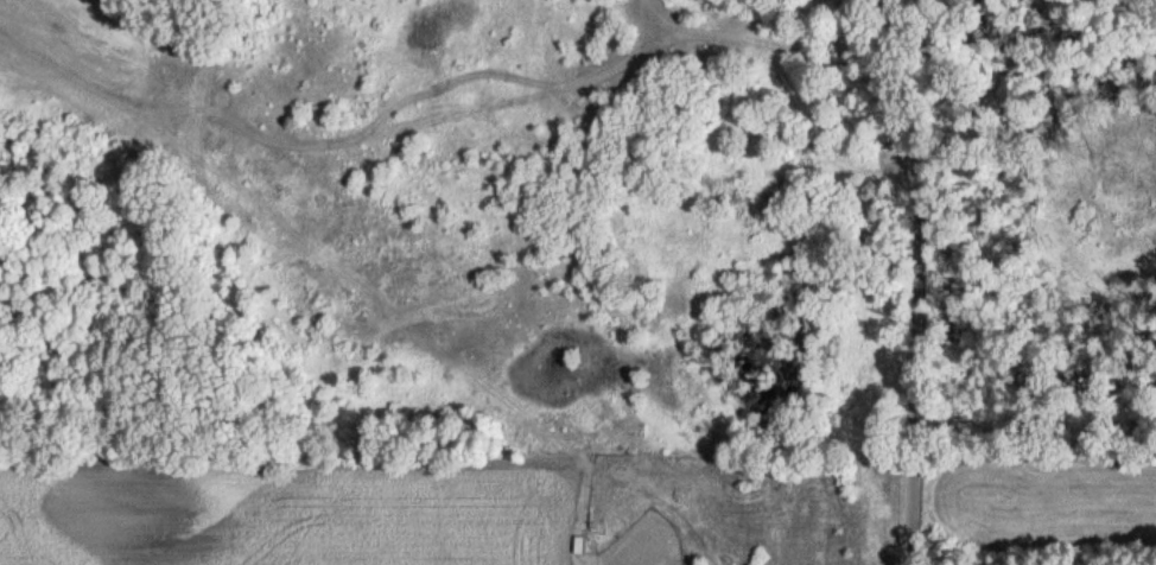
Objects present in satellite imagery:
road: (910, 287)

